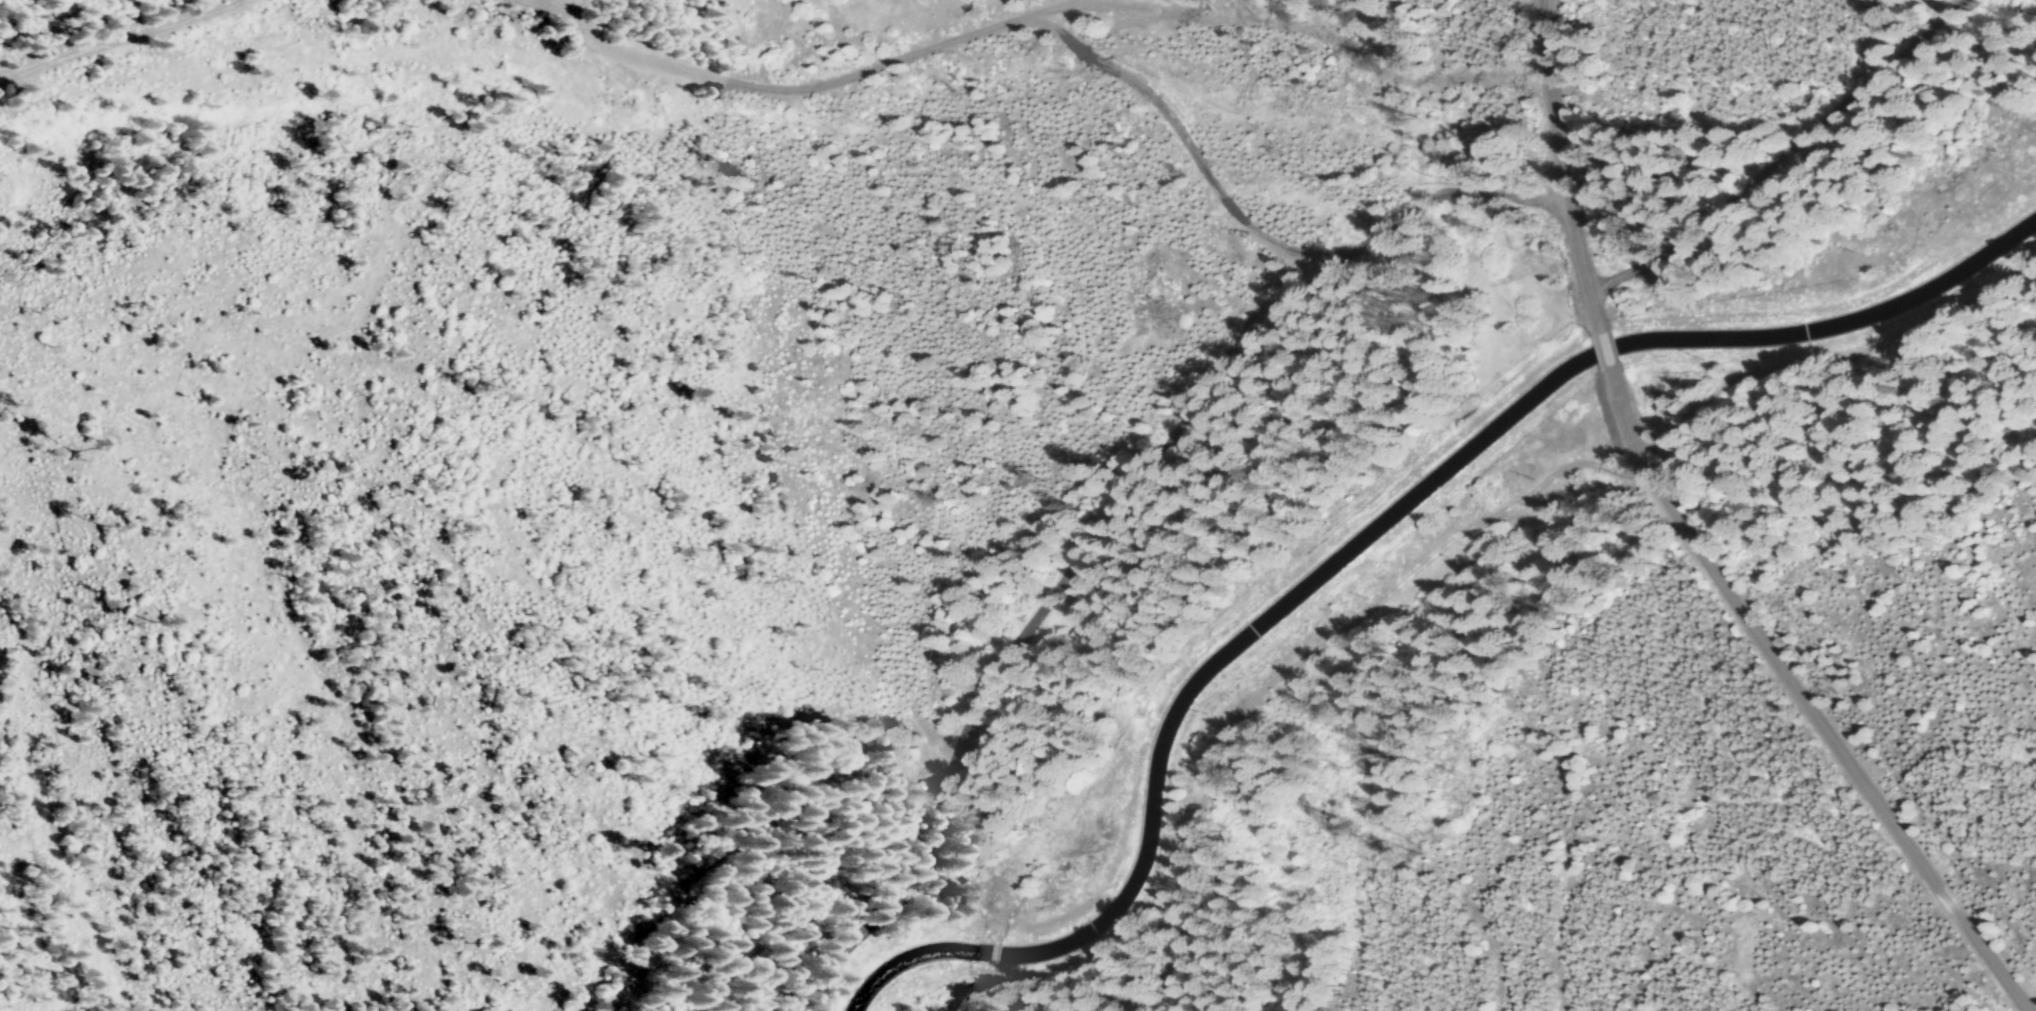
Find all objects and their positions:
road: (1028, 10)
road: (125, 31)
road: (1696, 544)

